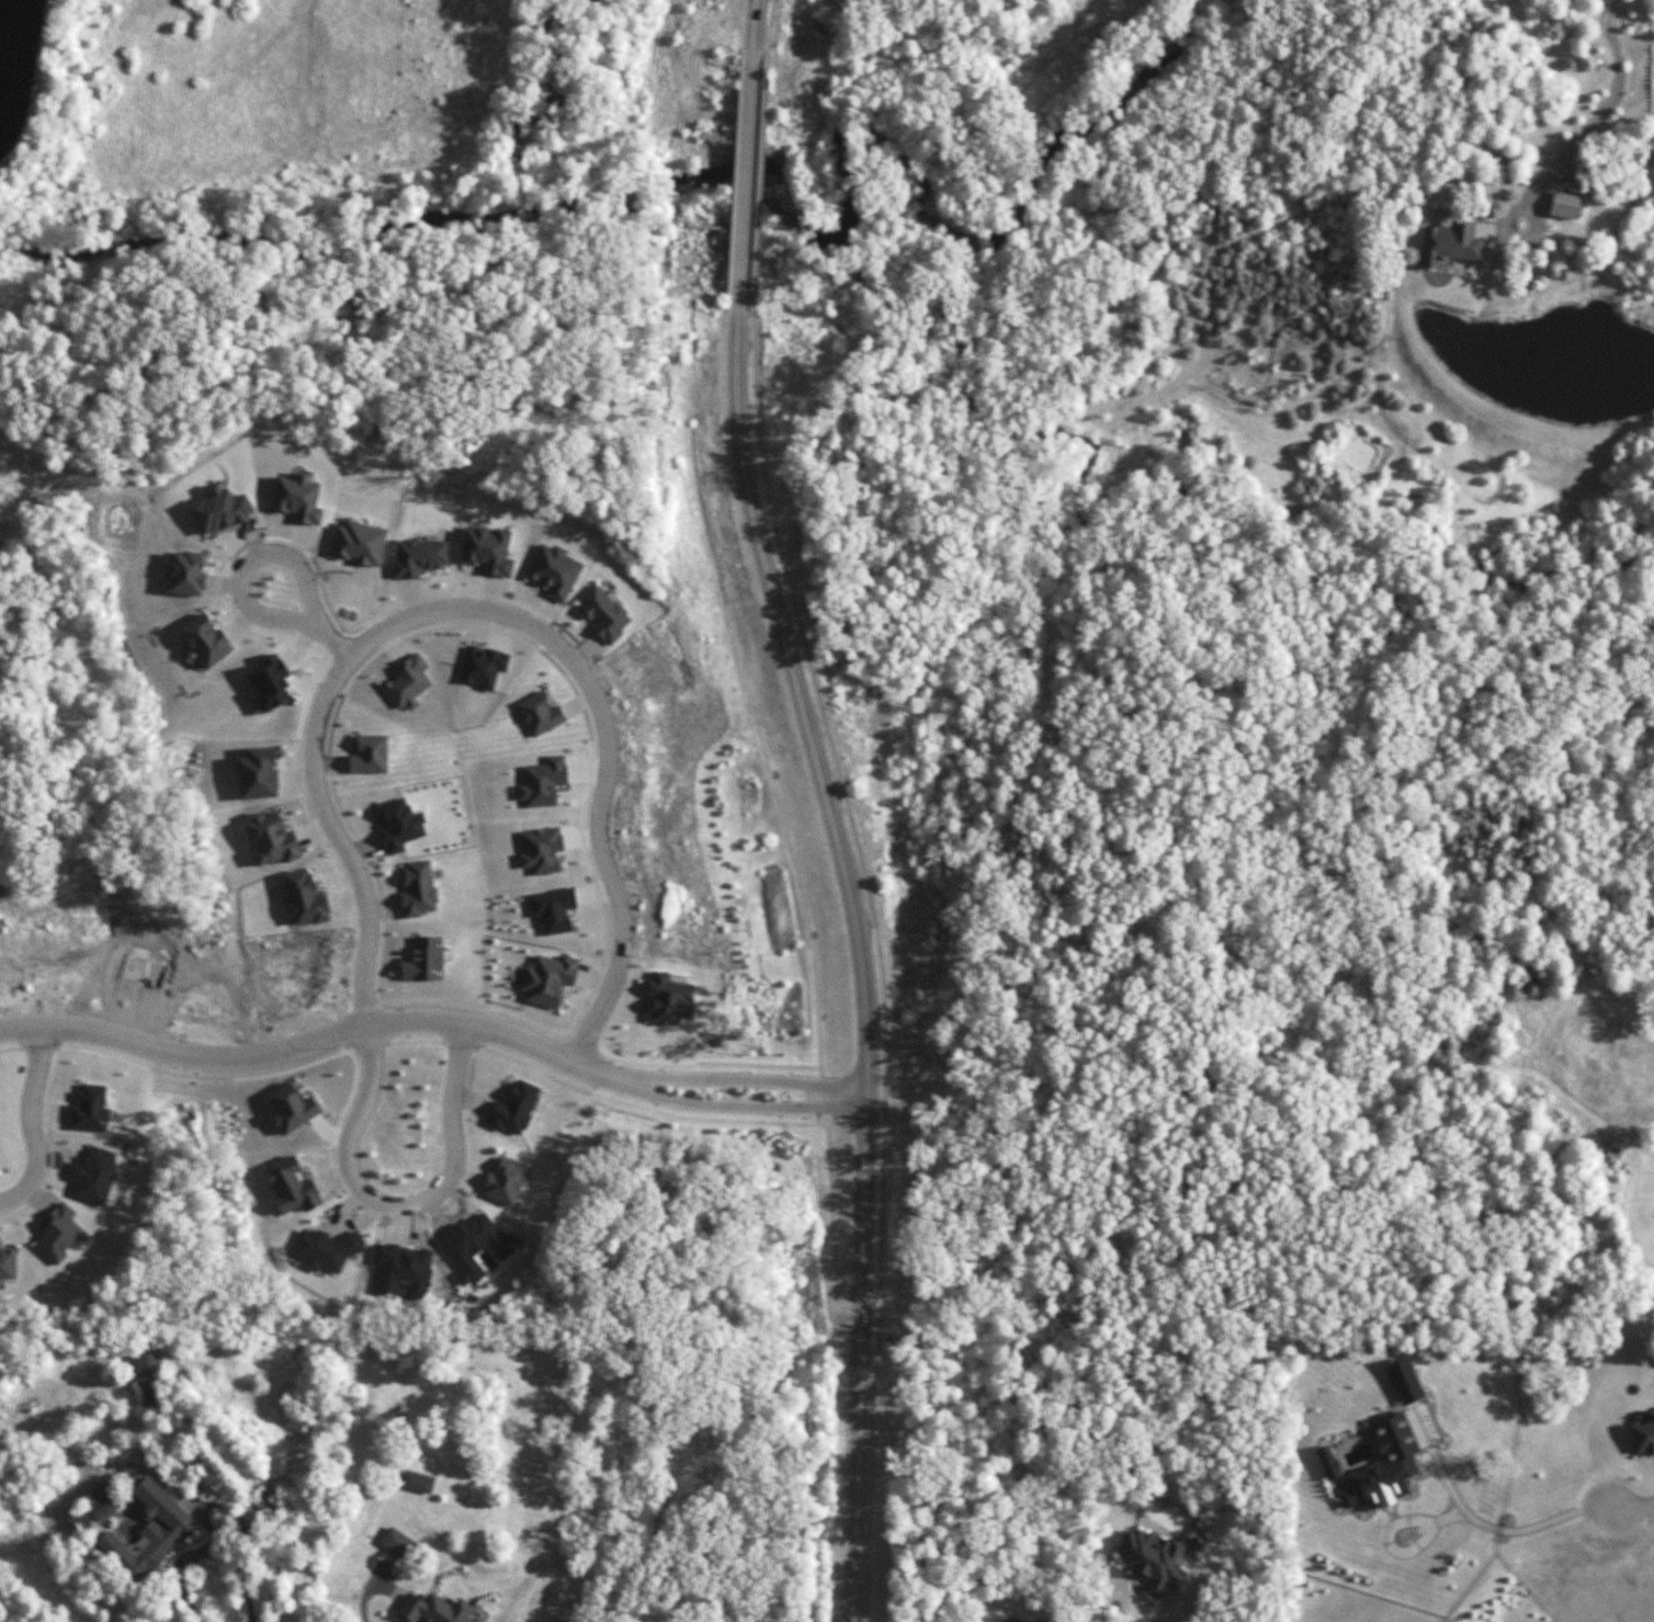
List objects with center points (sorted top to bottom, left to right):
road: (754, 24)
road: (1608, 106)
road: (744, 175)
building: (1564, 205)
building: (1451, 243)
building: (297, 498)
building: (360, 543)
building: (488, 549)
building: (419, 557)
building: (555, 571)
building: (186, 574)
road: (359, 582)
road: (239, 588)
road: (479, 608)
building: (603, 614)
building: (206, 640)
building: (483, 667)
building: (407, 682)
building: (271, 683)
building: (539, 714)
building: (370, 755)
building: (258, 774)
building: (542, 782)
building: (398, 825)
building: (271, 840)
building: (540, 850)
building: (418, 889)
building: (305, 899)
building: (553, 909)
road: (863, 954)
building: (423, 960)
building: (547, 979)
building: (669, 1000)
road: (321, 1033)
road: (638, 1085)
road: (839, 1096)
building: (293, 1108)
building: (514, 1109)
building: (90, 1110)
road: (31, 1121)
building: (92, 1175)
building: (505, 1181)
building: (292, 1187)
road: (400, 1203)
building: (58, 1234)
building: (326, 1248)
building: (8, 1264)
building: (149, 1382)
building: (1643, 1436)
building: (1328, 1463)
building: (1385, 1465)
building: (417, 1482)
building: (262, 1501)
building: (95, 1506)
road: (1645, 1511)
building: (150, 1532)
building: (397, 1543)
road: (206, 1551)
building: (1152, 1561)
building: (435, 1609)
road: (1164, 1610)

